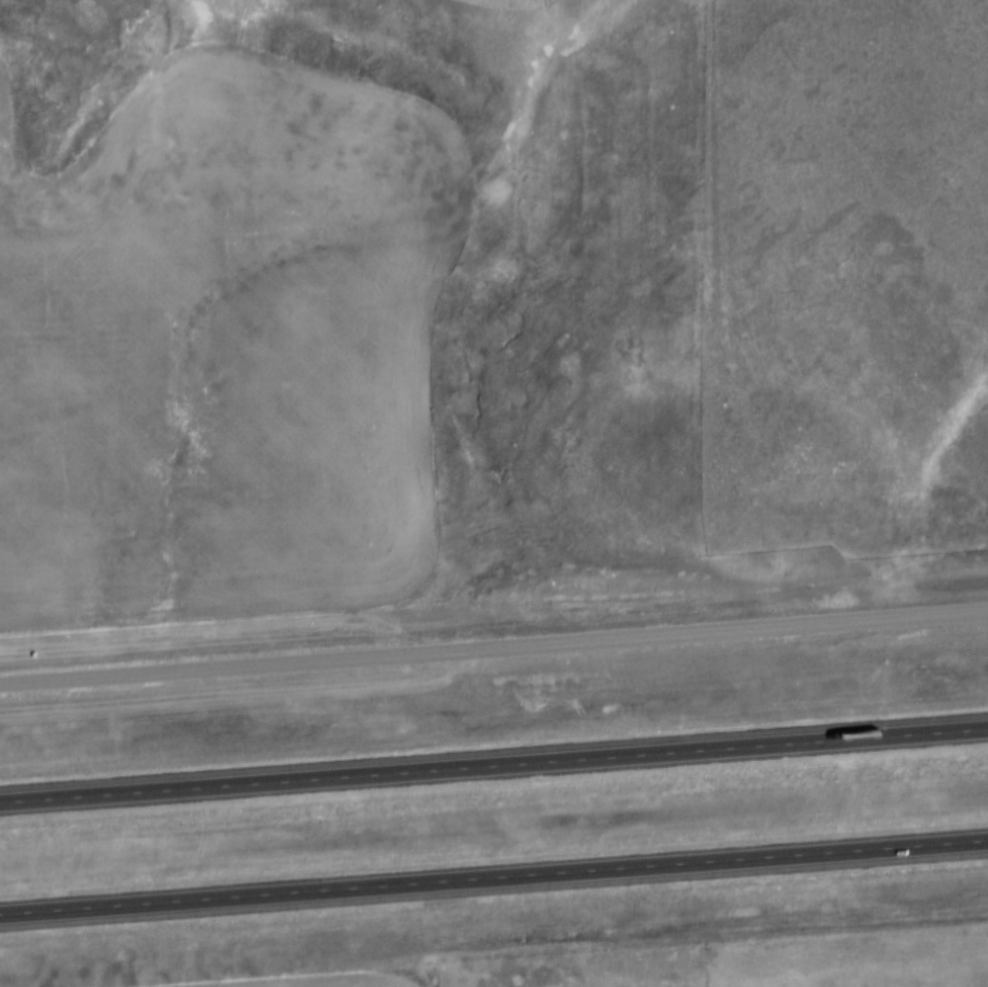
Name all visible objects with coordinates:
road: (493, 648)
road: (494, 769)
road: (494, 881)

